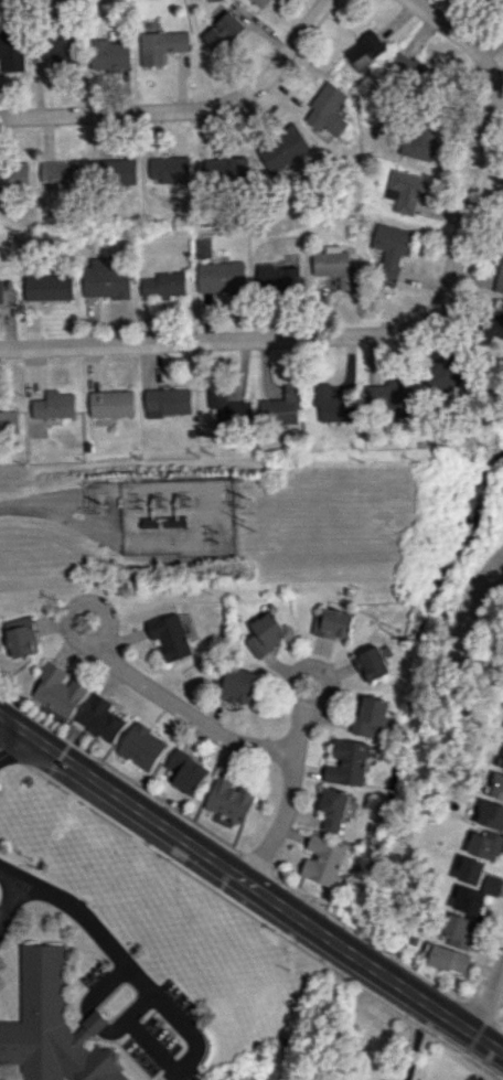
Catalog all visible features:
building: (259, 2)
building: (496, 3)
building: (222, 31)
road: (448, 31)
building: (160, 45)
building: (57, 49)
building: (365, 50)
building: (11, 51)
building: (108, 55)
building: (409, 72)
road: (185, 109)
building: (327, 110)
building: (420, 139)
building: (282, 151)
building: (169, 169)
building: (225, 170)
building: (116, 171)
building: (13, 177)
building: (405, 190)
building: (502, 243)
building: (390, 249)
building: (335, 266)
building: (106, 277)
building: (220, 277)
building: (277, 278)
building: (500, 278)
building: (163, 285)
building: (46, 287)
building: (6, 295)
building: (496, 332)
road: (347, 335)
building: (392, 397)
building: (167, 402)
building: (110, 404)
building: (333, 404)
building: (53, 407)
building: (281, 407)
building: (228, 410)
building: (8, 421)
power tower: (265, 502)
road: (32, 506)
power substation: (180, 516)
building: (265, 633)
building: (19, 637)
building: (169, 637)
building: (372, 663)
road: (132, 675)
building: (238, 685)
building: (57, 689)
building: (99, 717)
building: (372, 717)
road: (299, 733)
road: (7, 736)
building: (141, 746)
building: (347, 761)
building: (183, 771)
building: (497, 782)
building: (228, 798)
building: (333, 809)
building: (491, 814)
building: (485, 844)
building: (323, 859)
building: (470, 870)
road: (251, 886)
road: (12, 902)
building: (469, 910)
building: (449, 959)
road: (101, 984)
road: (153, 990)
road: (489, 1001)
road: (96, 1020)
building: (53, 1027)
road: (411, 1039)

